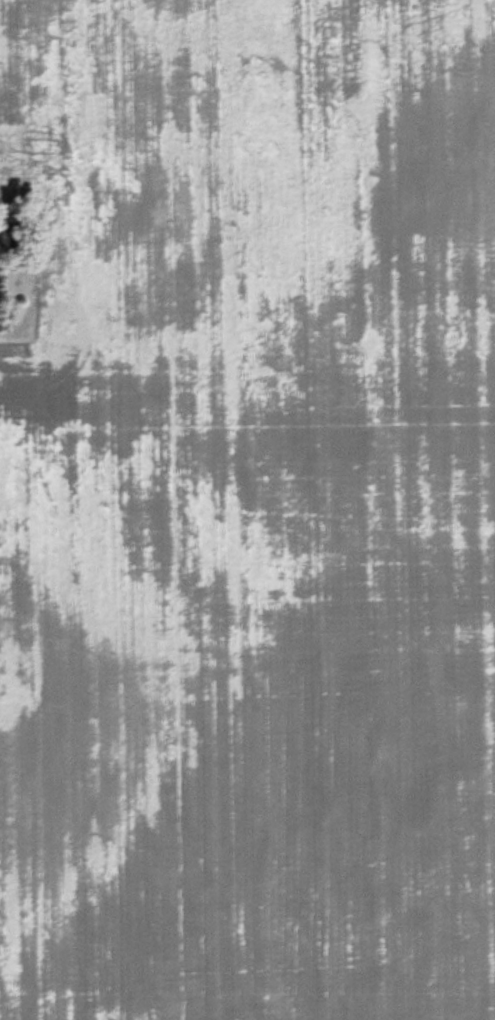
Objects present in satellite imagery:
building: (11, 234)

